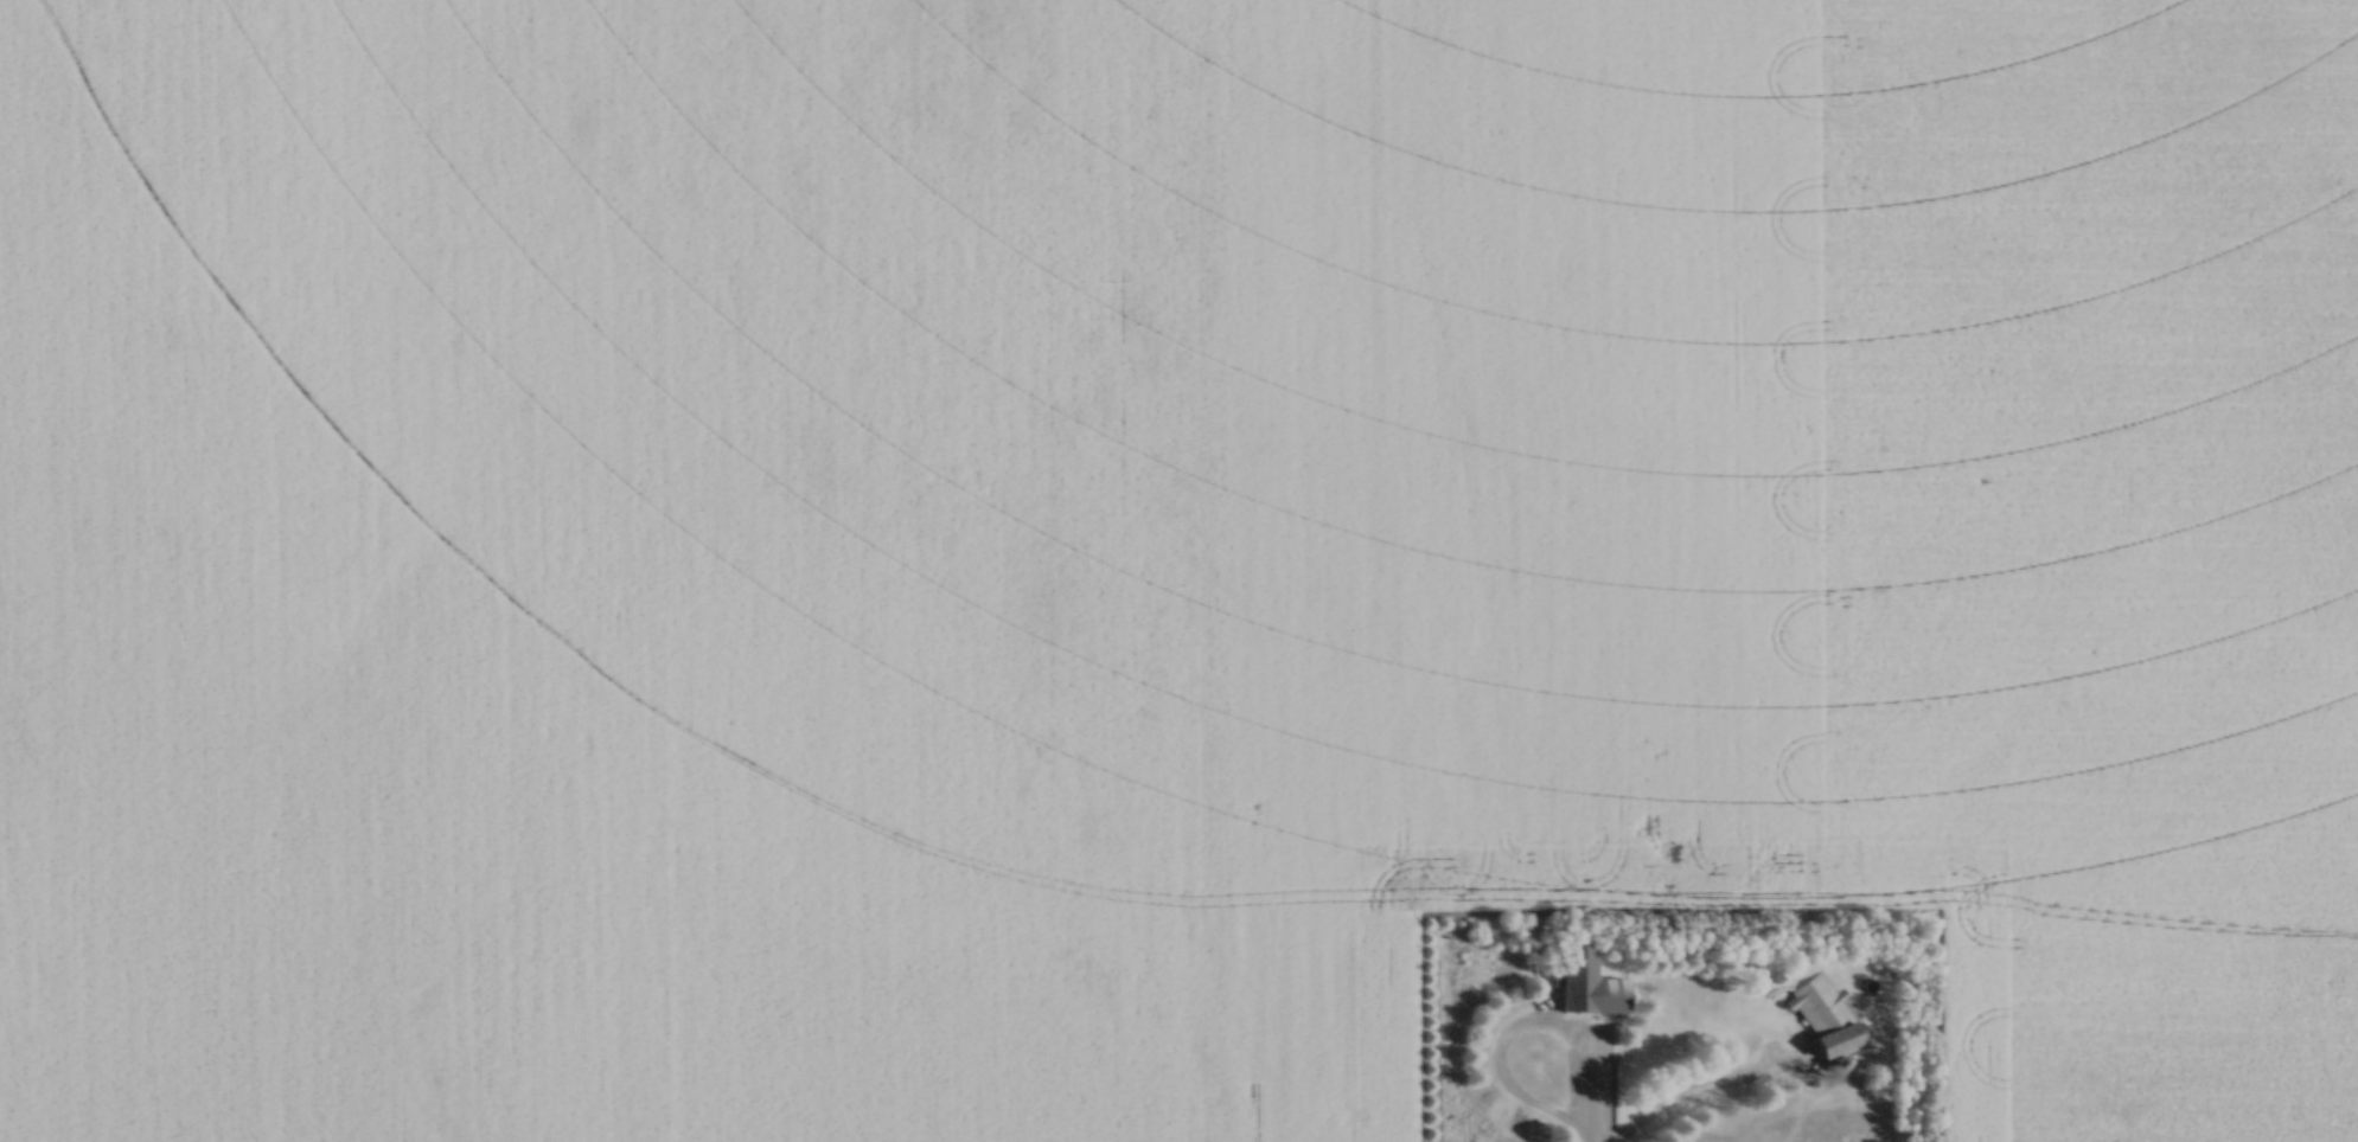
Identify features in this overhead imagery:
building: (1586, 982)
building: (1823, 1015)
road: (1704, 1093)

